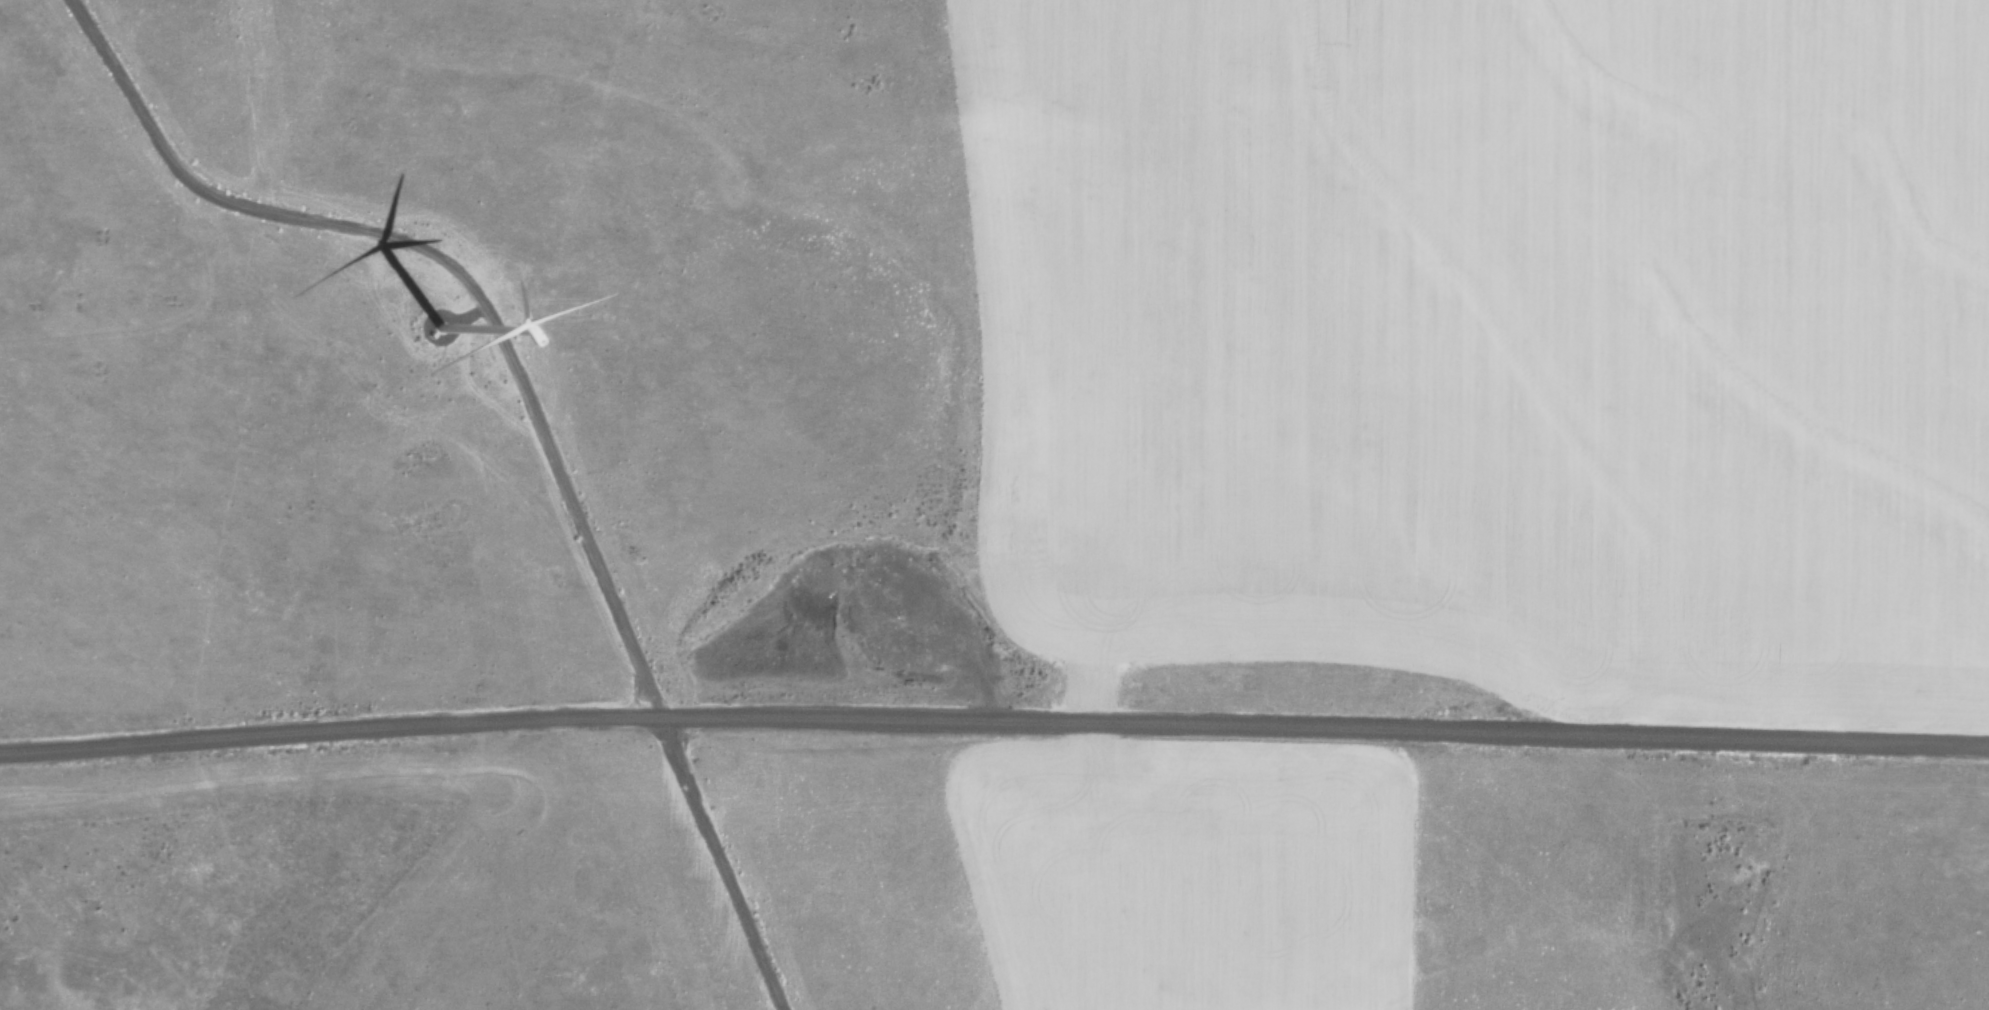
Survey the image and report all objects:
road: (453, 264)
wind turbine: (439, 329)
road: (994, 718)
road: (716, 859)

